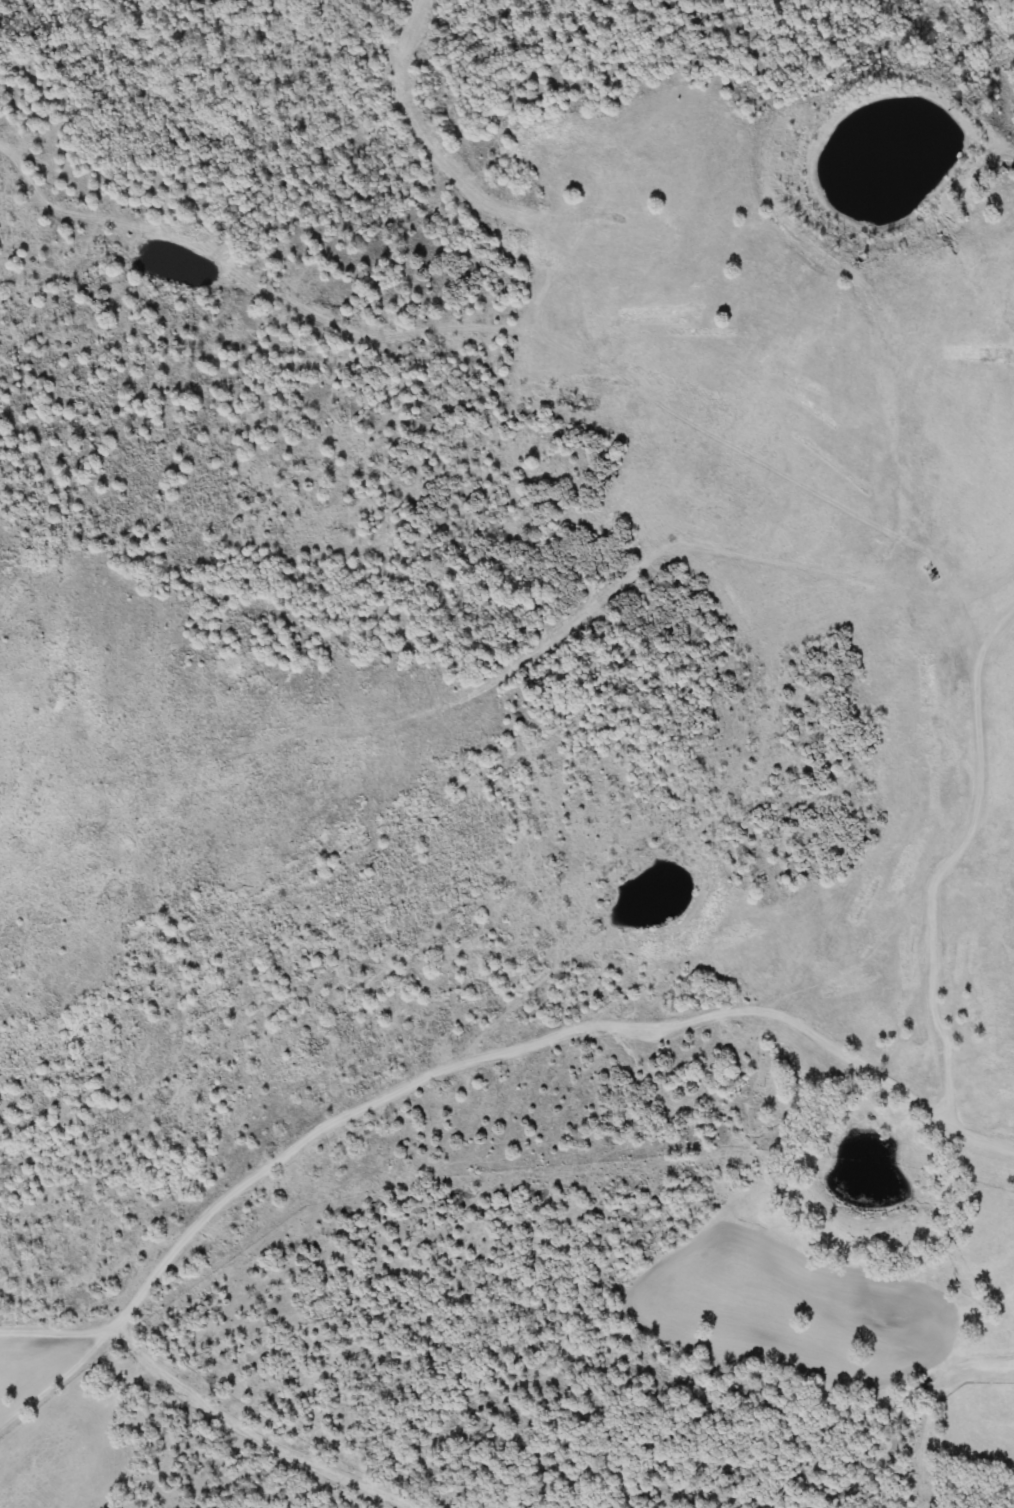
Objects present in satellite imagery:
road: (480, 1053)
road: (259, 1435)

